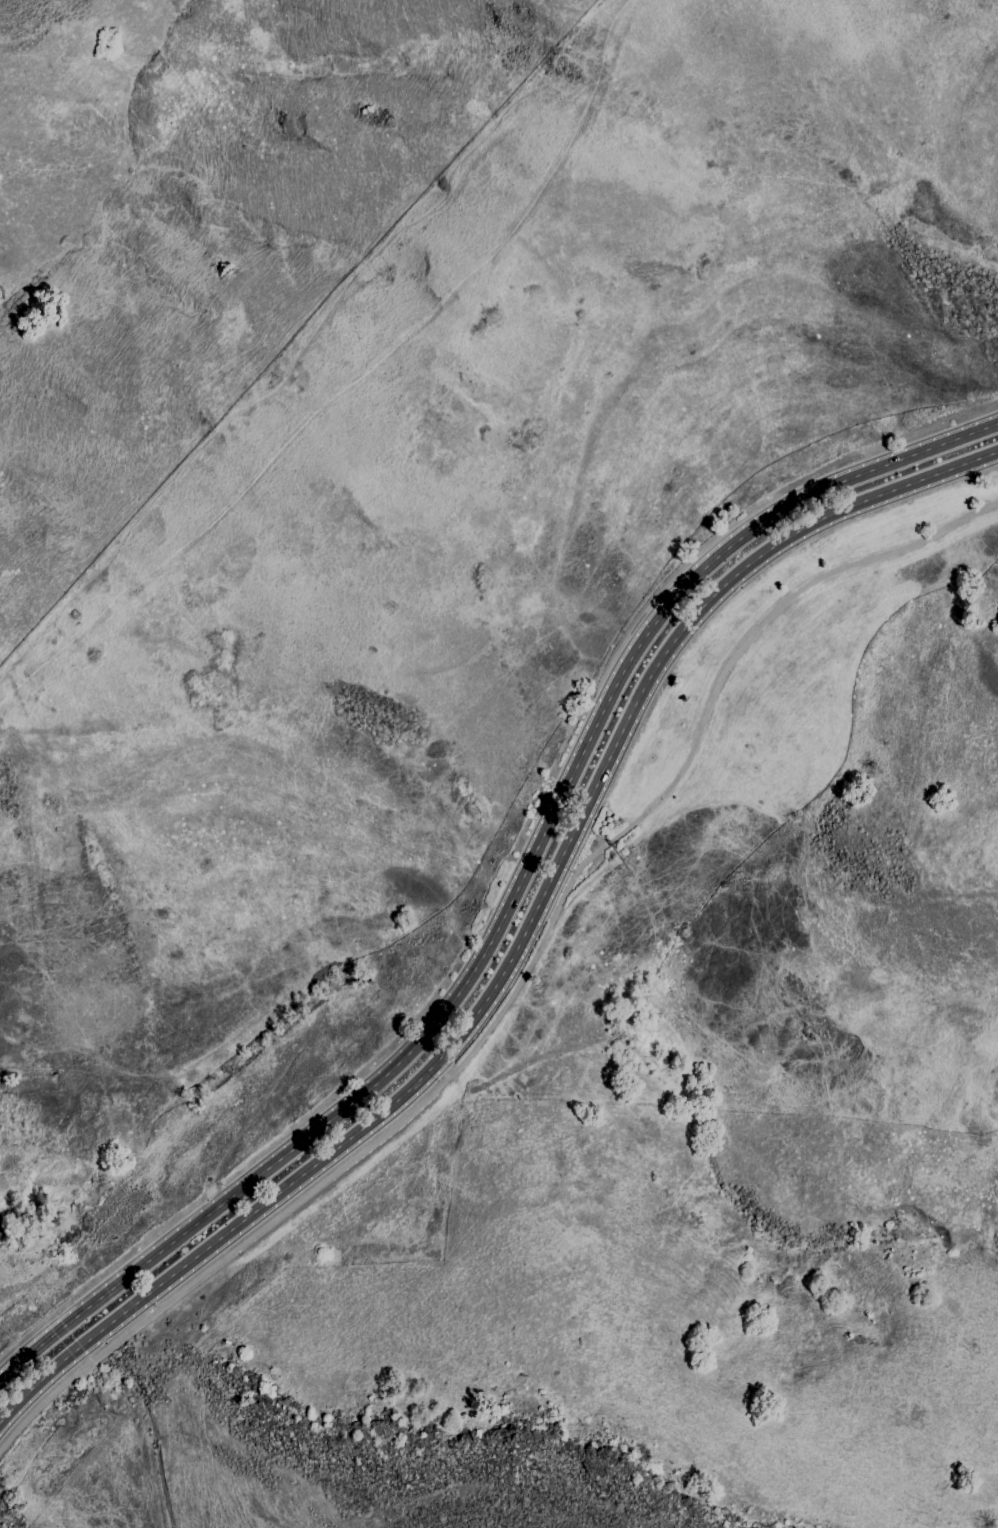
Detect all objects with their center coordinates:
road: (511, 898)
road: (521, 938)
road: (520, 980)

